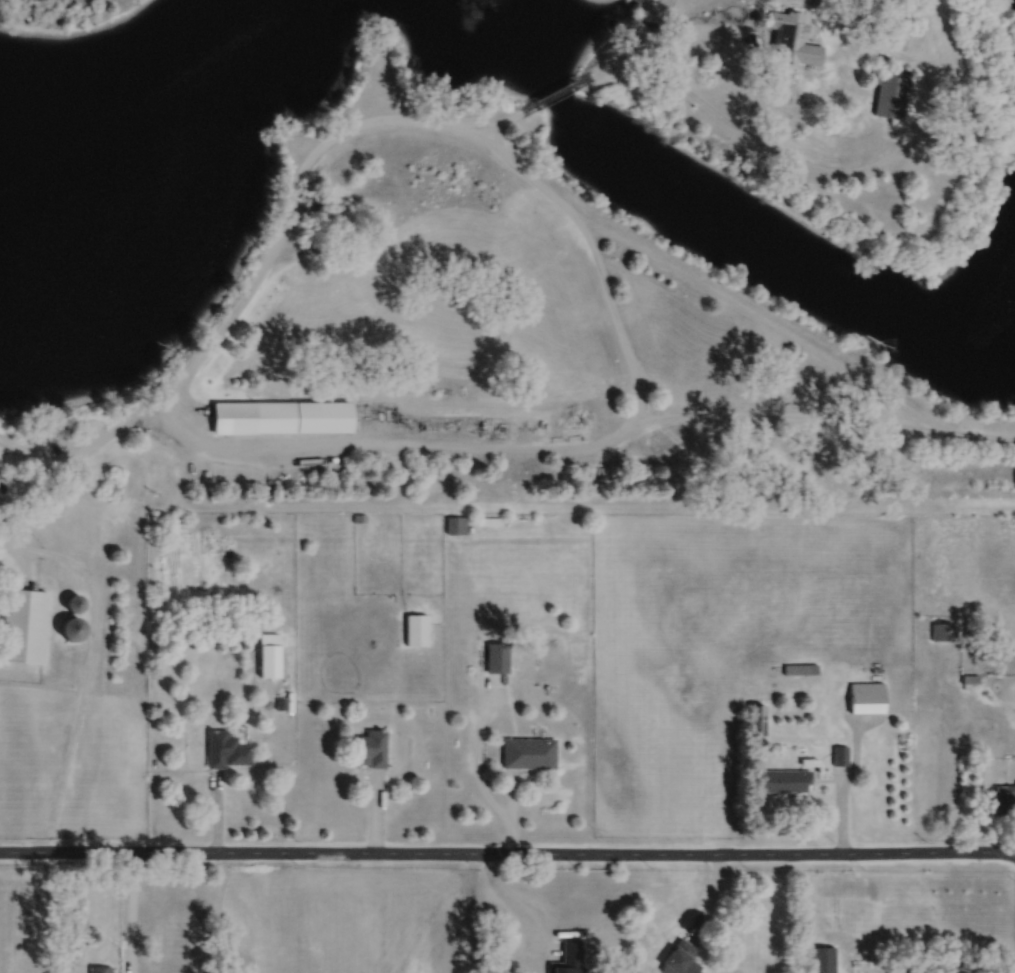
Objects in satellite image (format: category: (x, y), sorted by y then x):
road: (641, 1)
road: (653, 8)
road: (664, 10)
road: (653, 26)
building: (791, 38)
road: (900, 56)
road: (622, 57)
road: (556, 94)
building: (888, 95)
road: (500, 124)
road: (803, 161)
road: (601, 270)
road: (762, 319)
building: (280, 416)
road: (823, 419)
building: (55, 448)
road: (76, 454)
road: (27, 457)
building: (358, 517)
building: (455, 524)
building: (225, 552)
building: (73, 603)
building: (22, 625)
building: (71, 628)
building: (415, 629)
building: (943, 631)
building: (267, 655)
building: (496, 657)
road: (87, 667)
building: (800, 668)
building: (968, 680)
building: (866, 697)
building: (279, 703)
building: (757, 719)
building: (370, 748)
building: (223, 750)
building: (528, 753)
building: (840, 755)
road: (855, 757)
road: (476, 758)
building: (784, 780)
building: (1003, 799)
road: (840, 810)
road: (510, 811)
road: (216, 812)
road: (374, 812)
road: (507, 852)
road: (709, 897)
road: (511, 901)
road: (130, 911)
crop: (353, 919)
building: (568, 958)
building: (677, 958)
building: (821, 959)
building: (100, 969)

